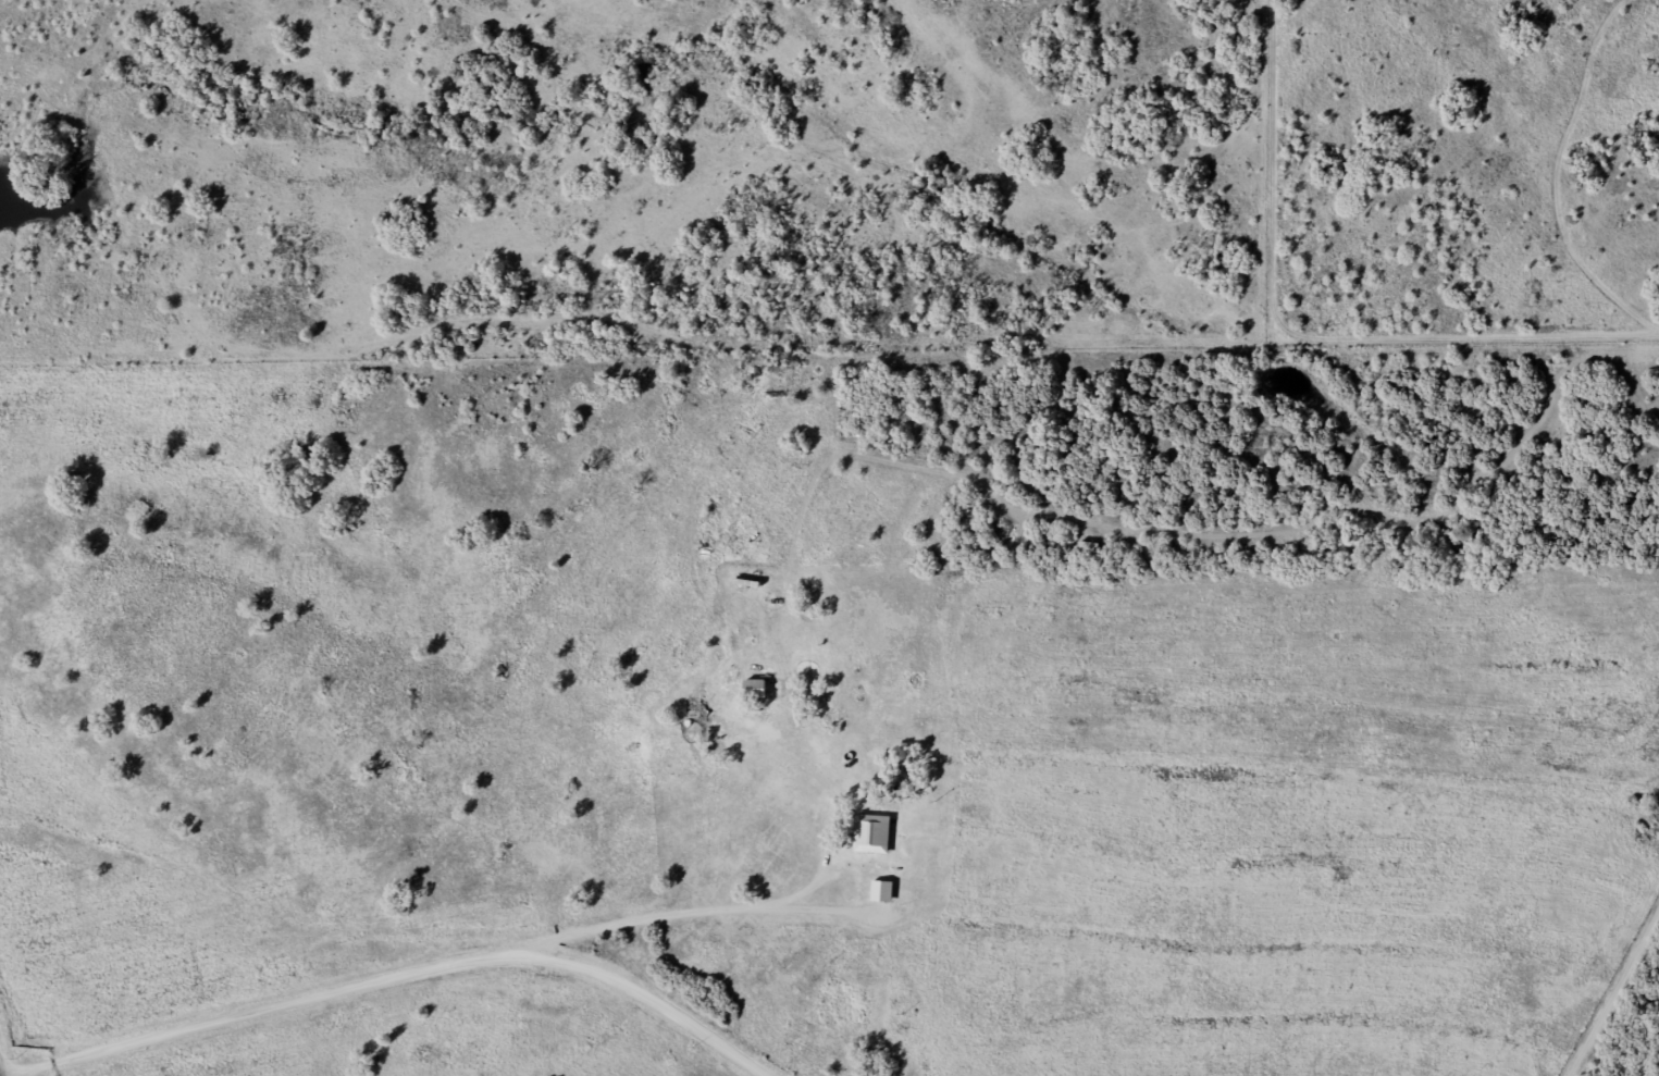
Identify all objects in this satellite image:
building: (754, 692)
building: (871, 838)
road: (828, 937)
road: (952, 944)
road: (398, 977)
road: (3, 1063)

